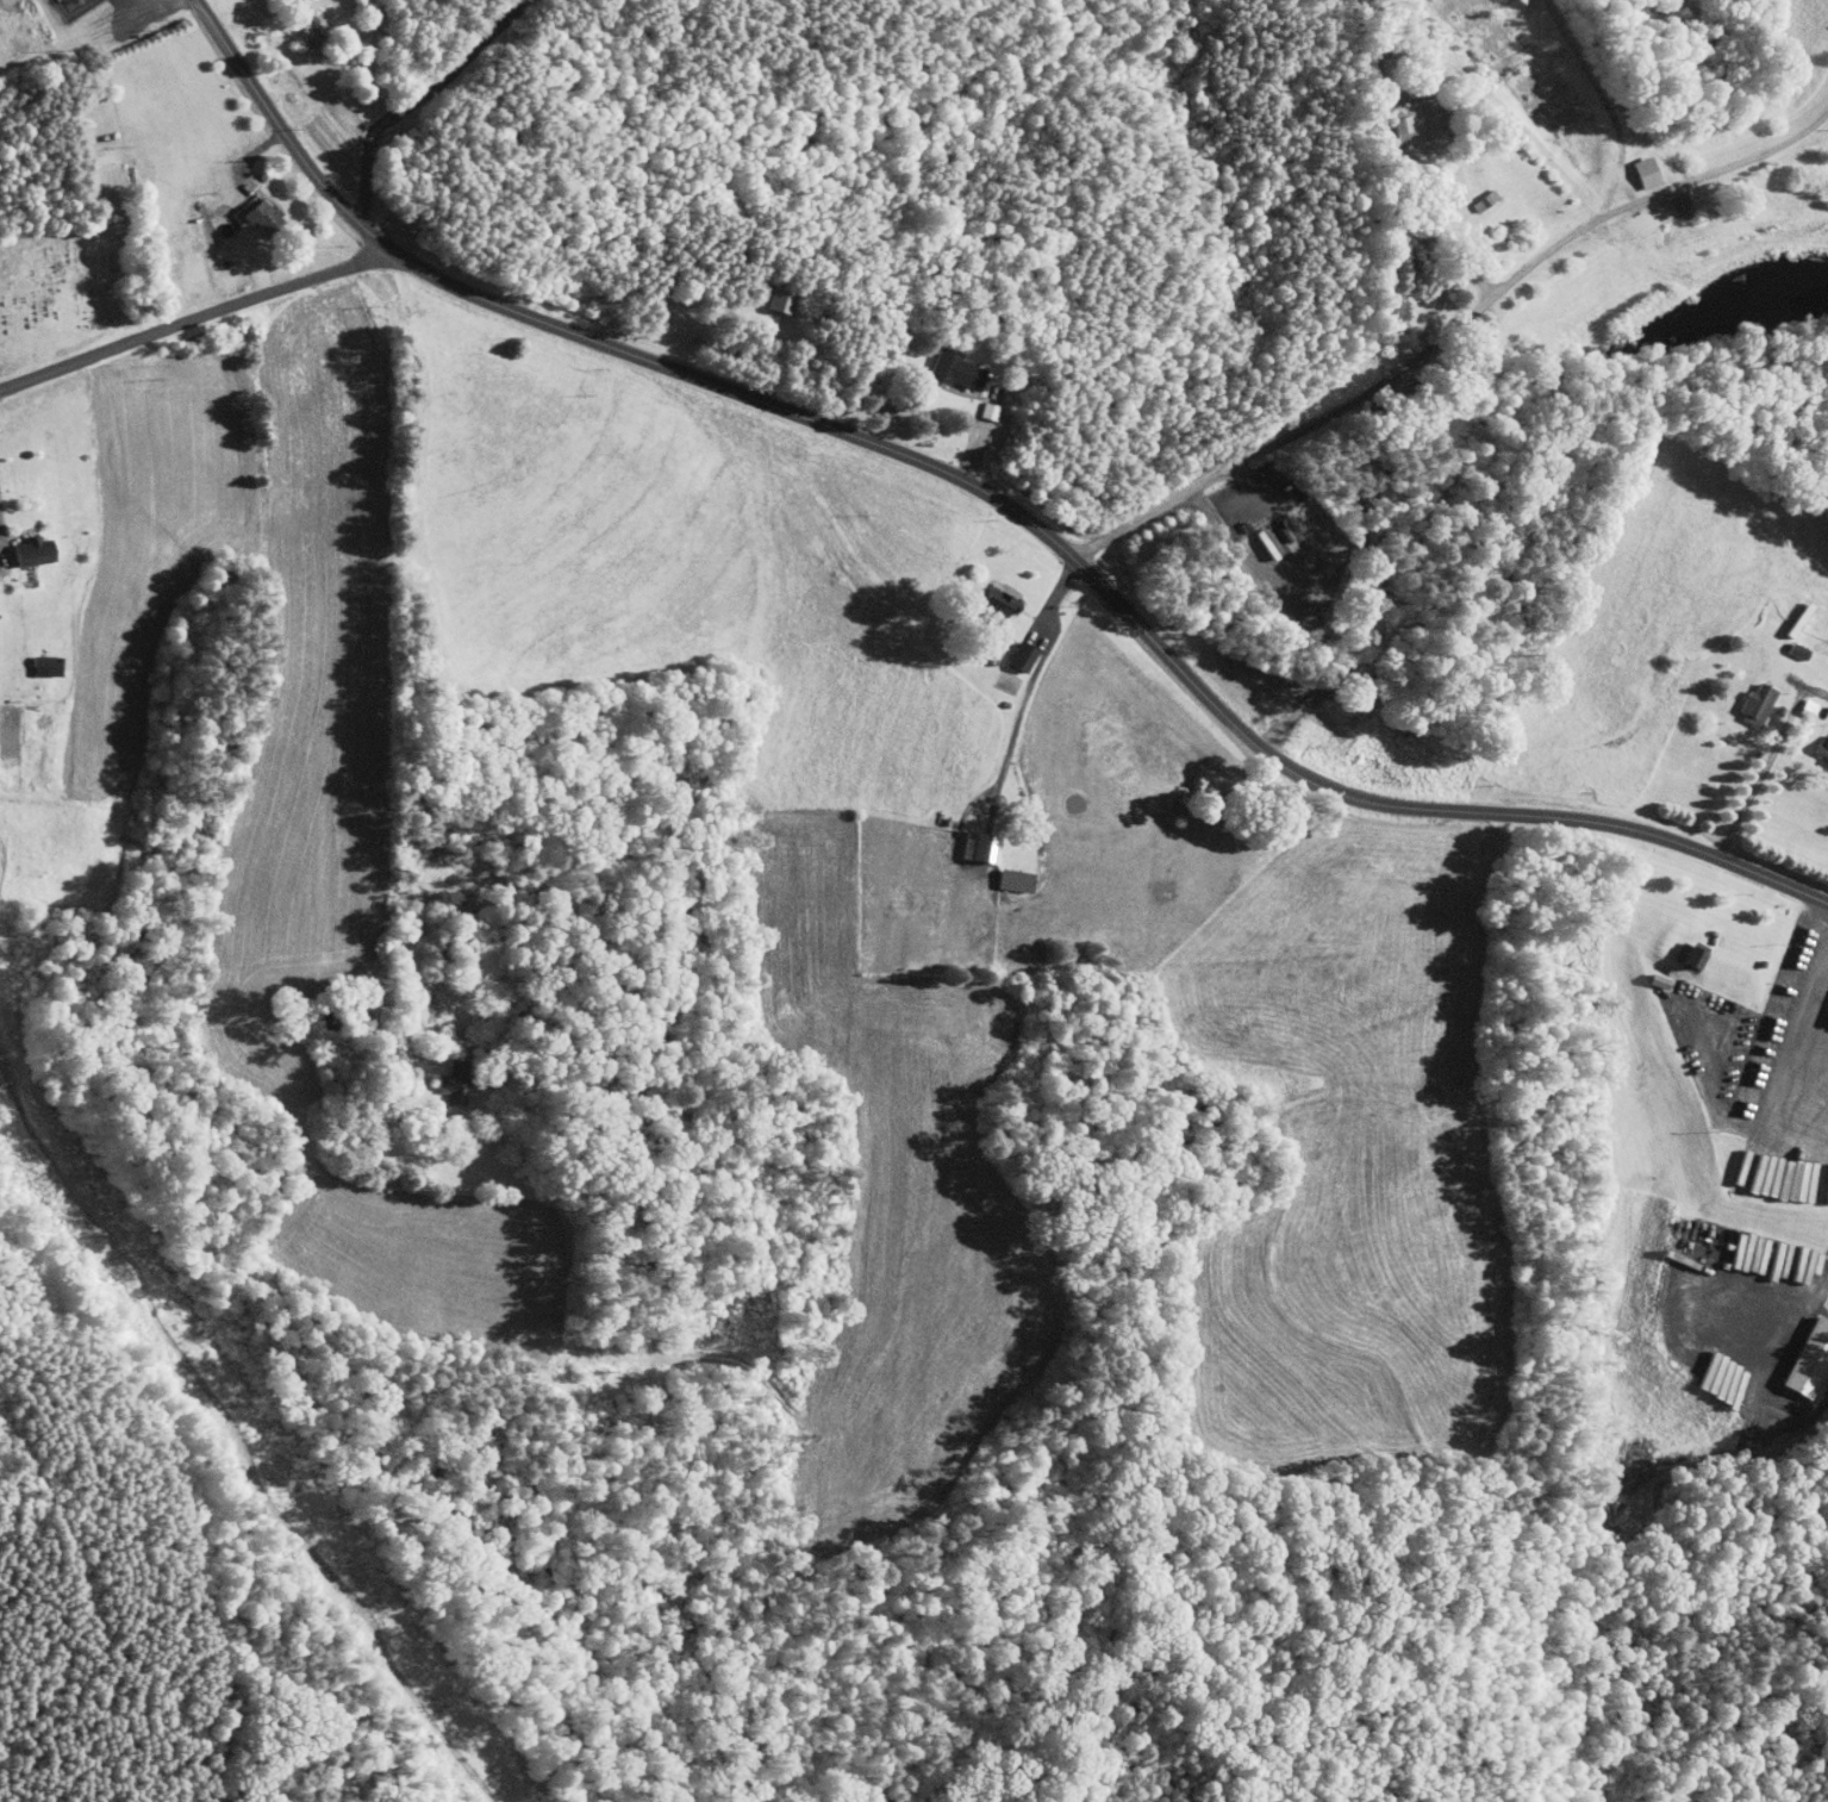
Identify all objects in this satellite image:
power substation: (71, 7)
building: (311, 27)
building: (1398, 114)
building: (87, 148)
building: (96, 156)
building: (1632, 166)
building: (1471, 193)
building: (1672, 195)
building: (248, 210)
building: (261, 217)
building: (766, 293)
road: (194, 318)
road: (1450, 332)
building: (941, 363)
road: (990, 495)
building: (30, 550)
building: (984, 597)
road: (387, 642)
building: (1007, 649)
building: (1792, 649)
building: (31, 659)
building: (1793, 702)
building: (1751, 704)
building: (1820, 748)
road: (1759, 761)
building: (967, 841)
building: (1000, 874)
building: (1680, 946)
building: (437, 1079)
building: (1799, 1348)

